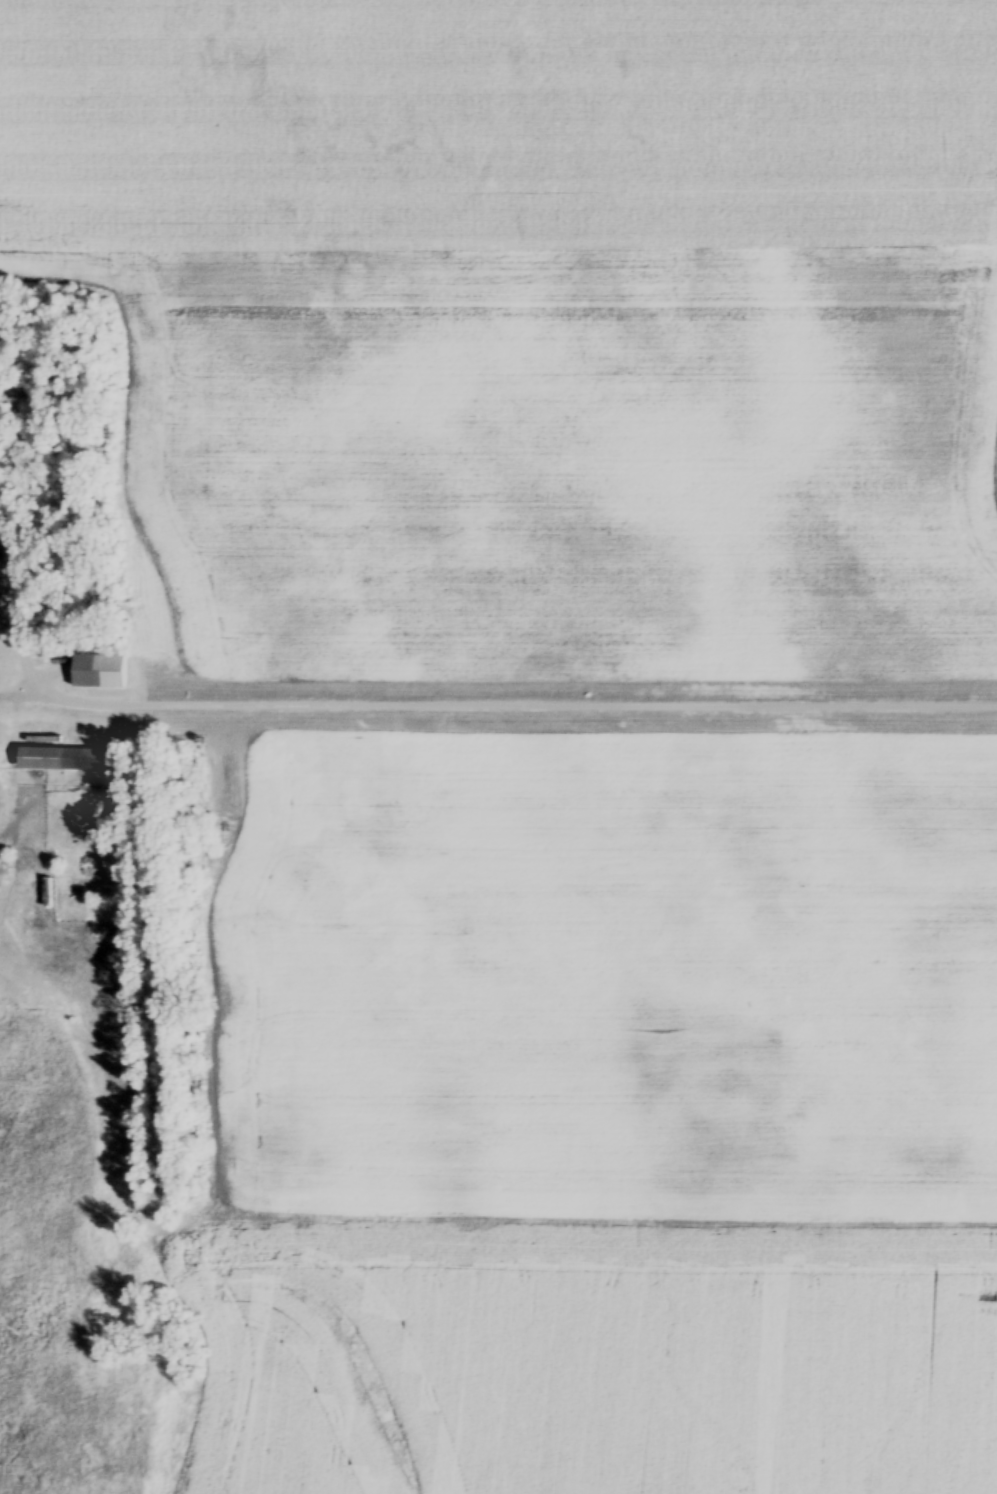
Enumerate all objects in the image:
building: (6, 532)
road: (33, 664)
building: (97, 678)
road: (522, 697)
building: (63, 761)

